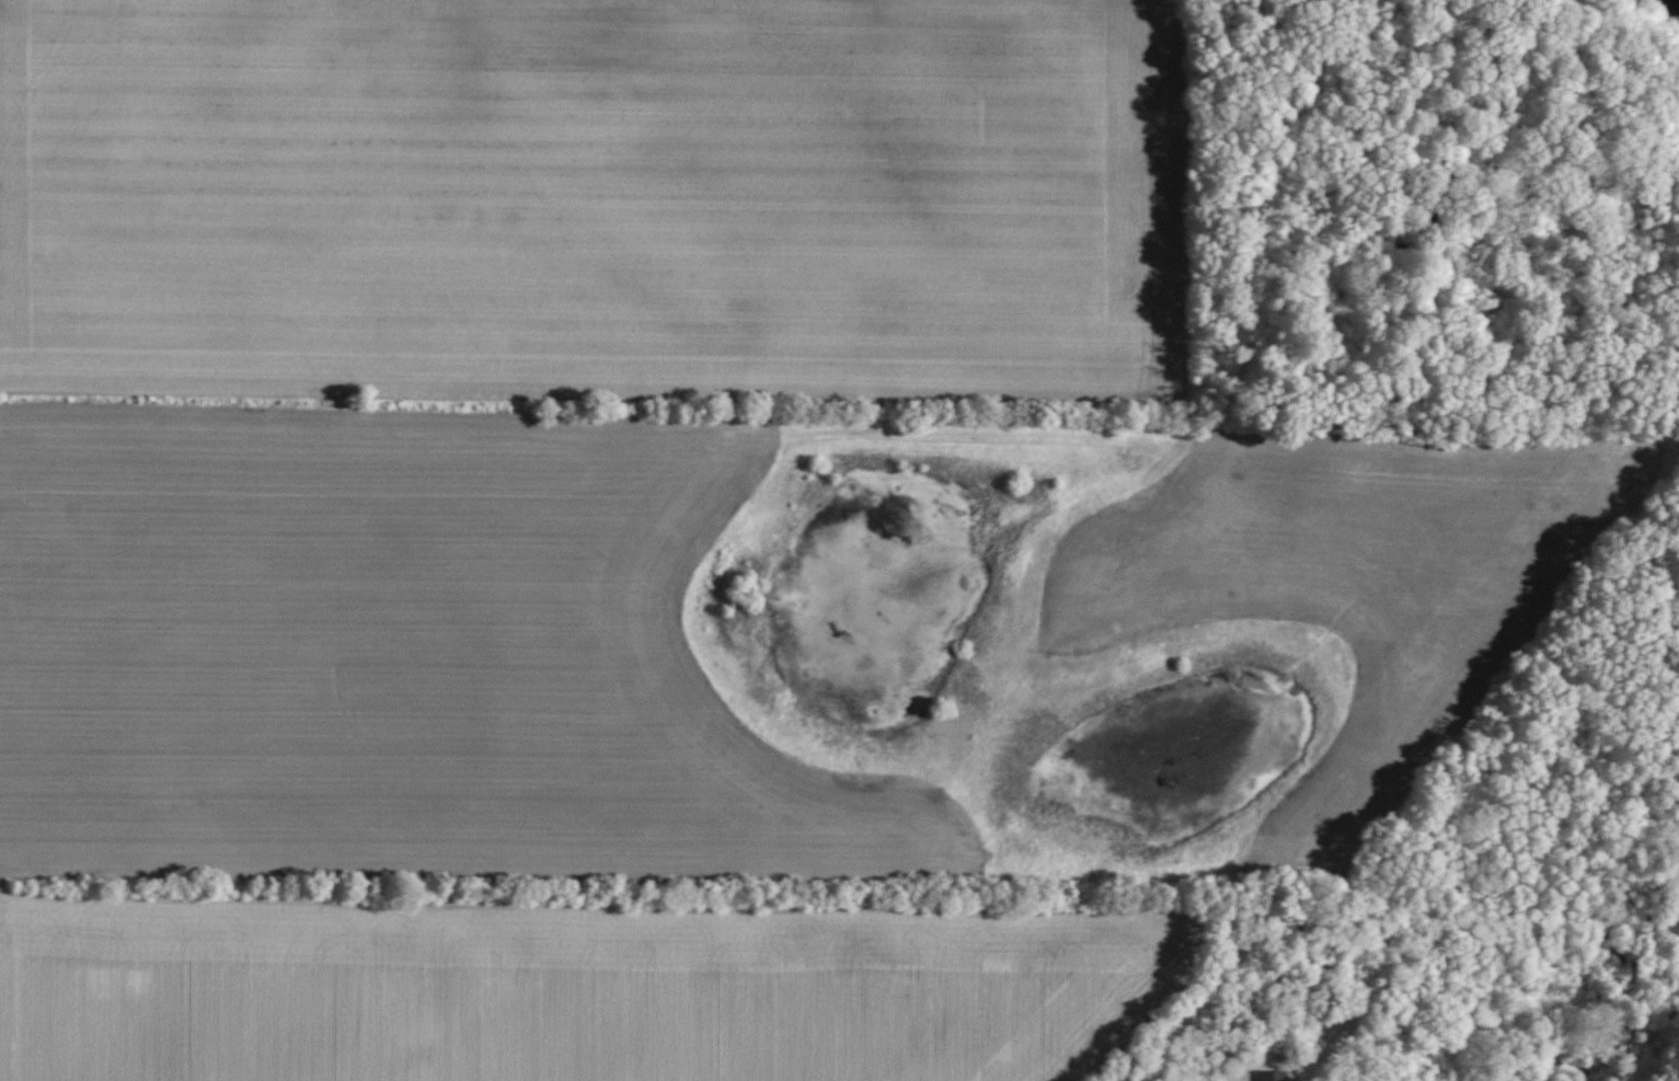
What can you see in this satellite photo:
river: (1653, 21)
building: (1274, 1076)
road: (1141, 1077)

